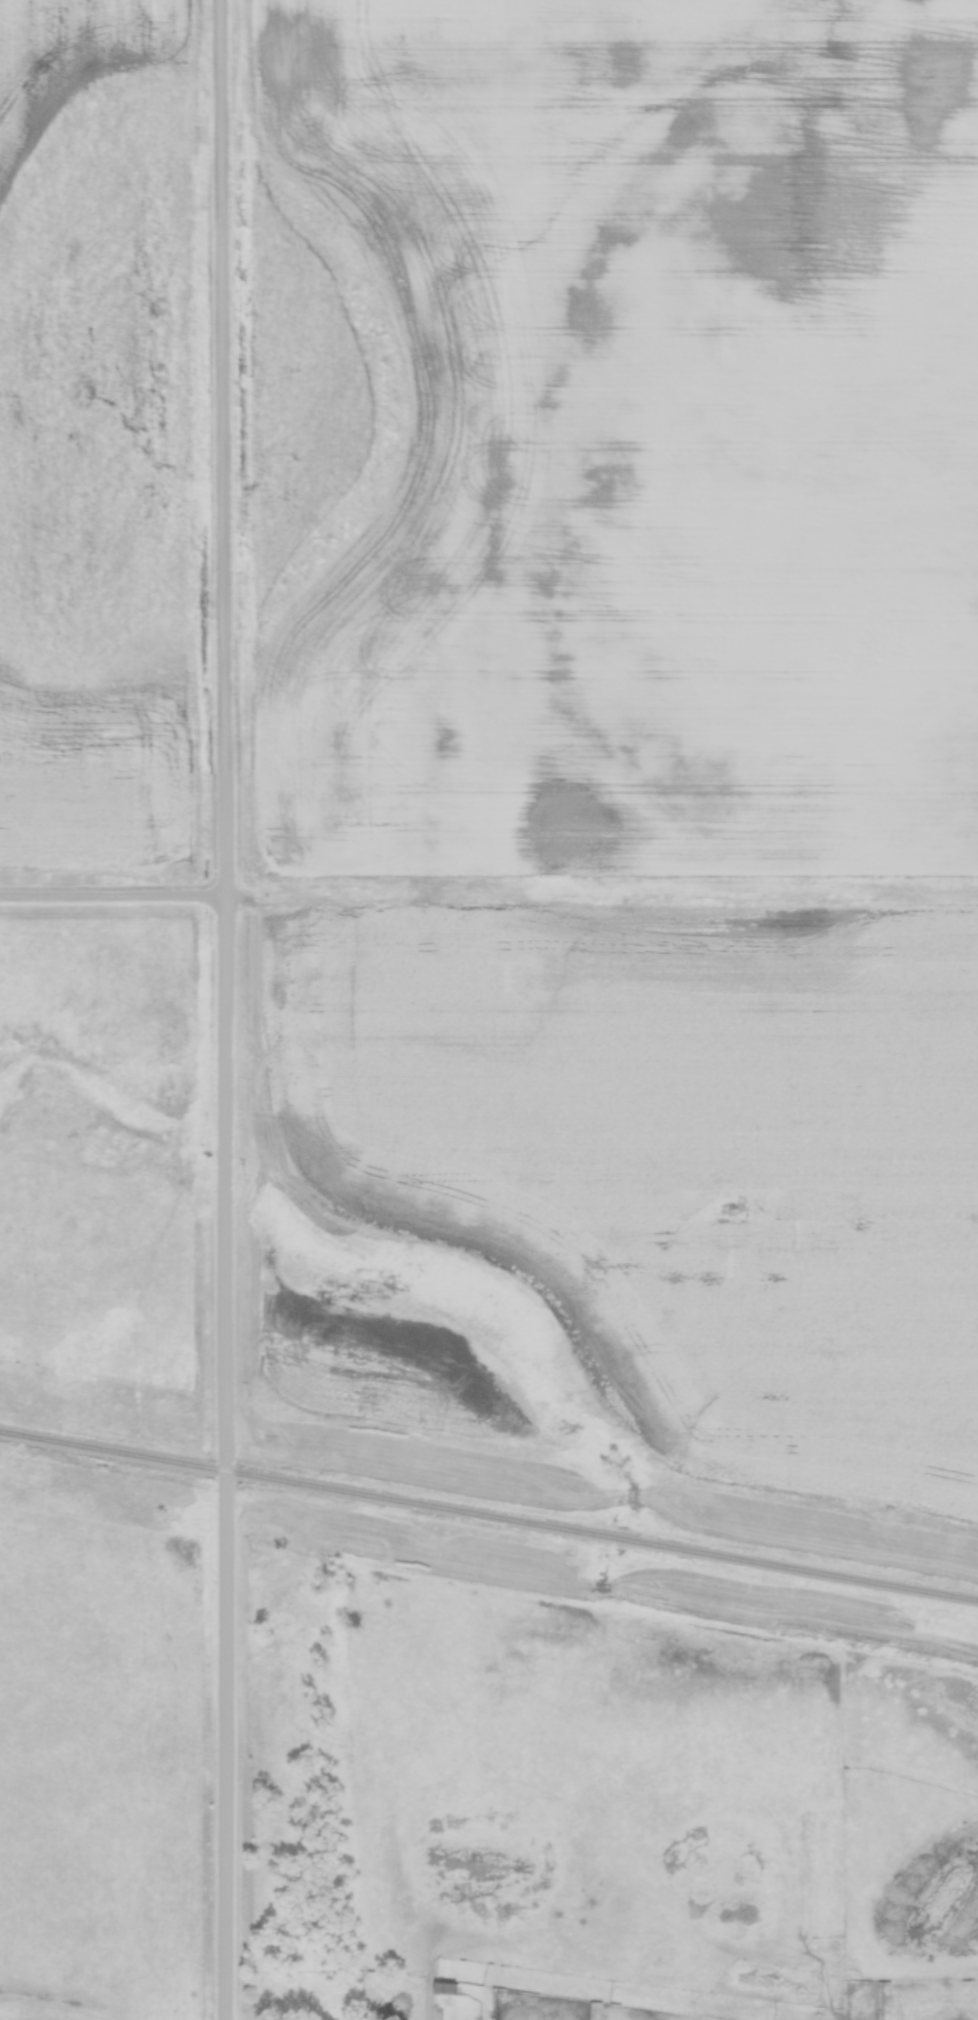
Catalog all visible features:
road: (114, 898)
road: (228, 1010)
railway: (489, 1515)
building: (446, 1989)

